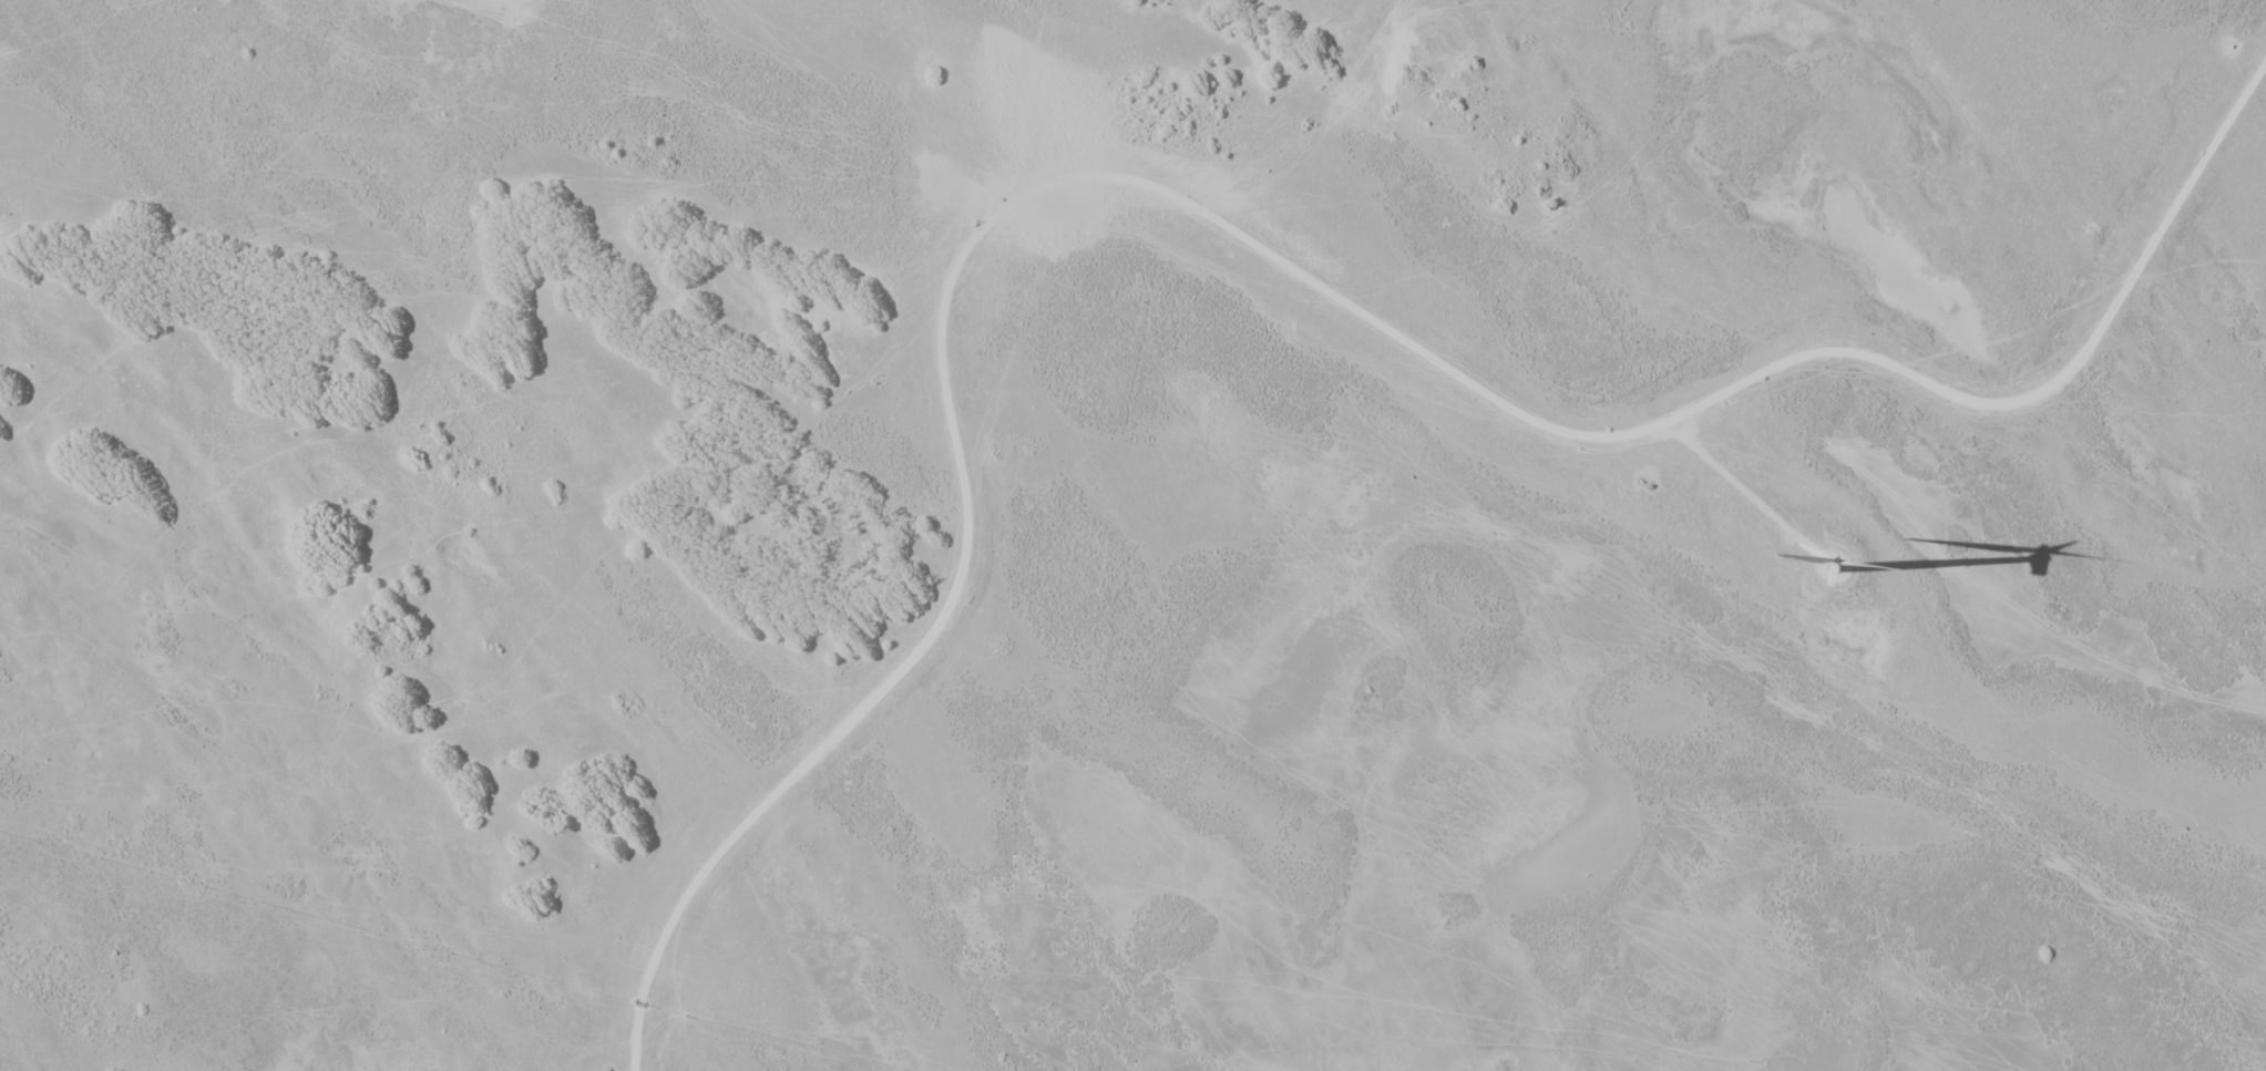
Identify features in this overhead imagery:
wind turbine: (1841, 570)

